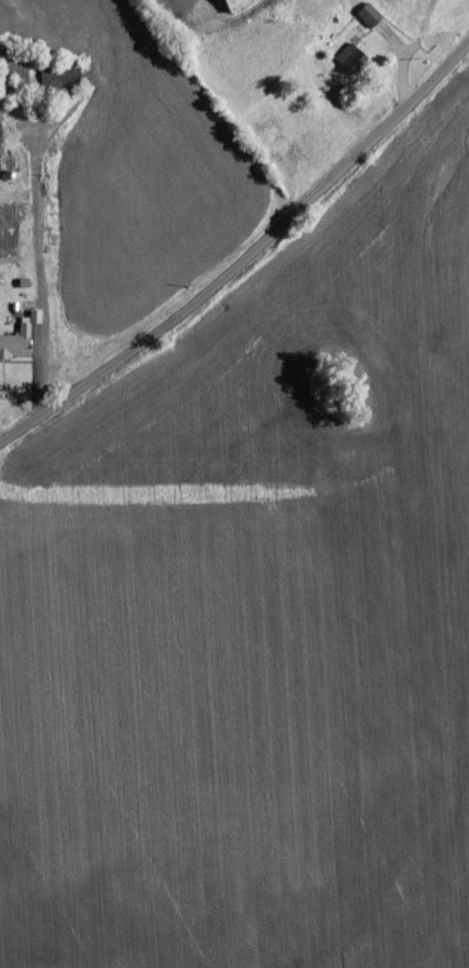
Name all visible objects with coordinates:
building: (237, 5)
building: (370, 16)
building: (349, 57)
road: (246, 255)
building: (20, 339)

